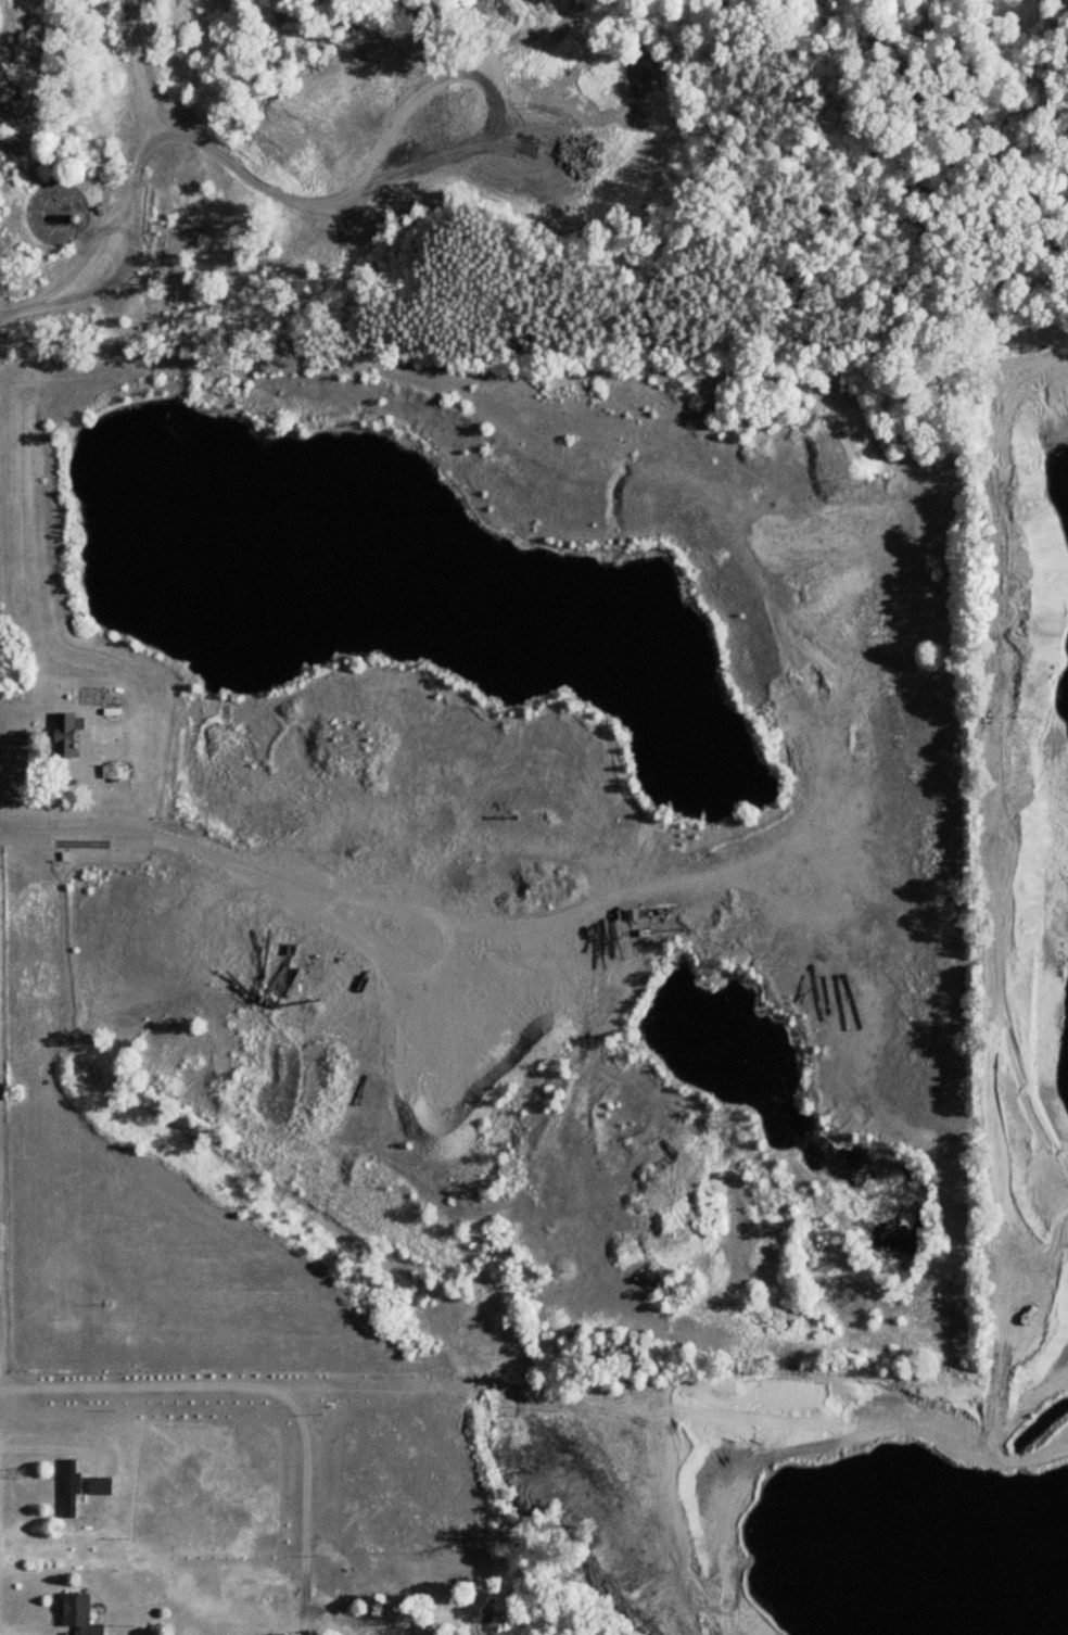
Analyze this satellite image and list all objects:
power tower: (7, 275)
power tower: (10, 674)
building: (111, 714)
building: (67, 735)
road: (85, 813)
power tower: (14, 1093)
road: (268, 1379)
power tower: (20, 1471)
building: (101, 1486)
building: (71, 1488)
building: (79, 1613)

